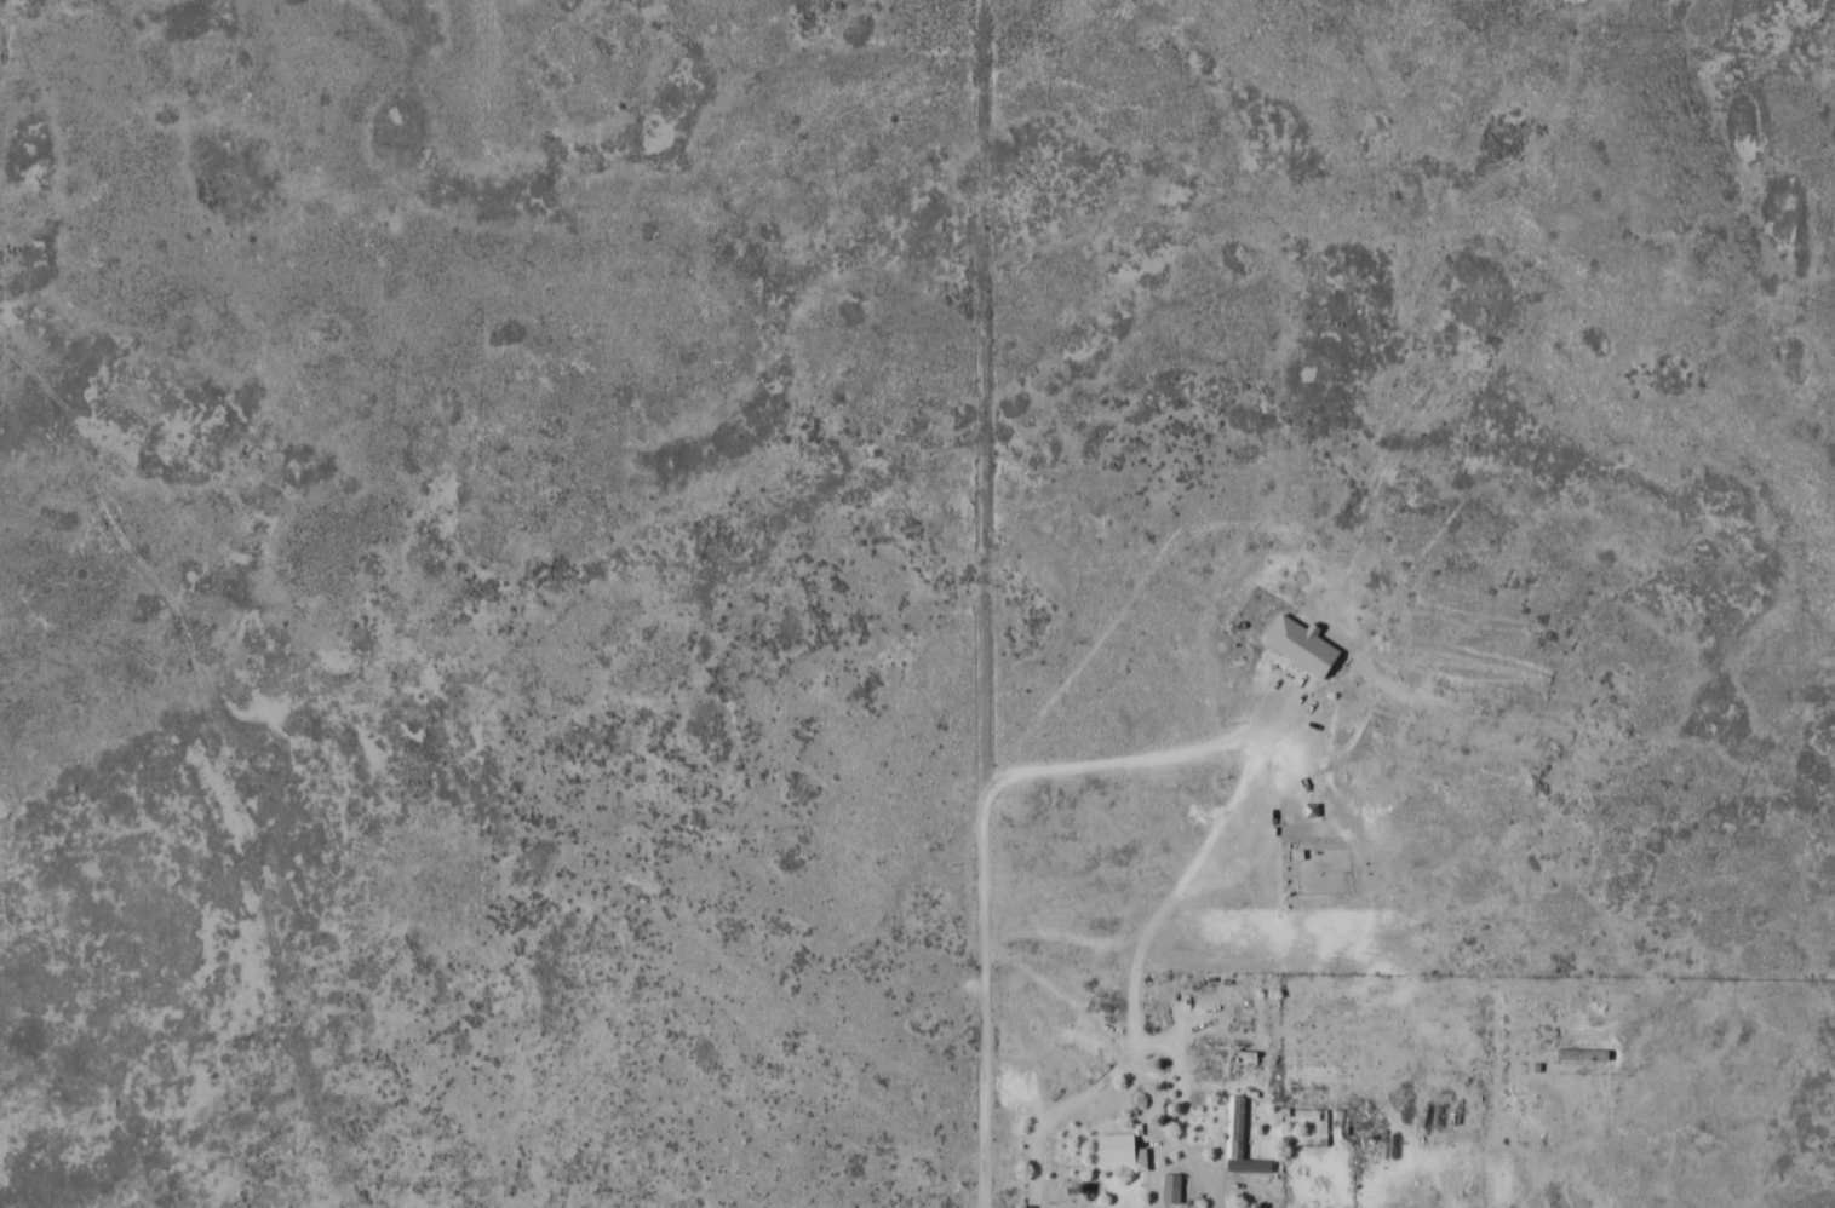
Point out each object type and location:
building: (1286, 635)
road: (987, 1002)
building: (1239, 1139)
road: (218, 1141)
building: (1116, 1149)

